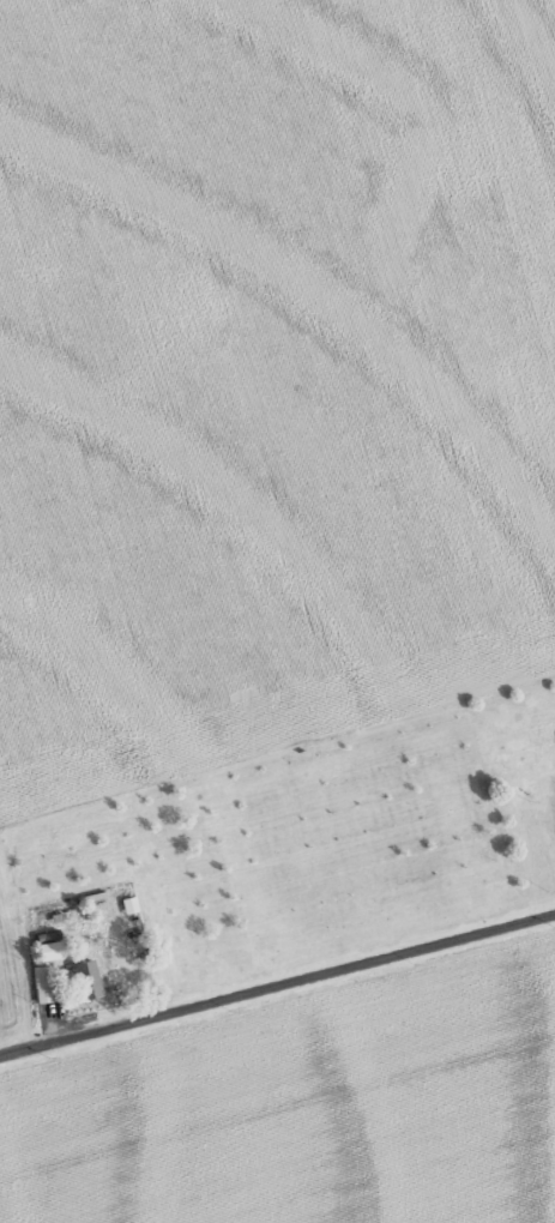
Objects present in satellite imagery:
building: (129, 904)
building: (49, 951)
building: (83, 978)
road: (277, 982)
building: (43, 984)

